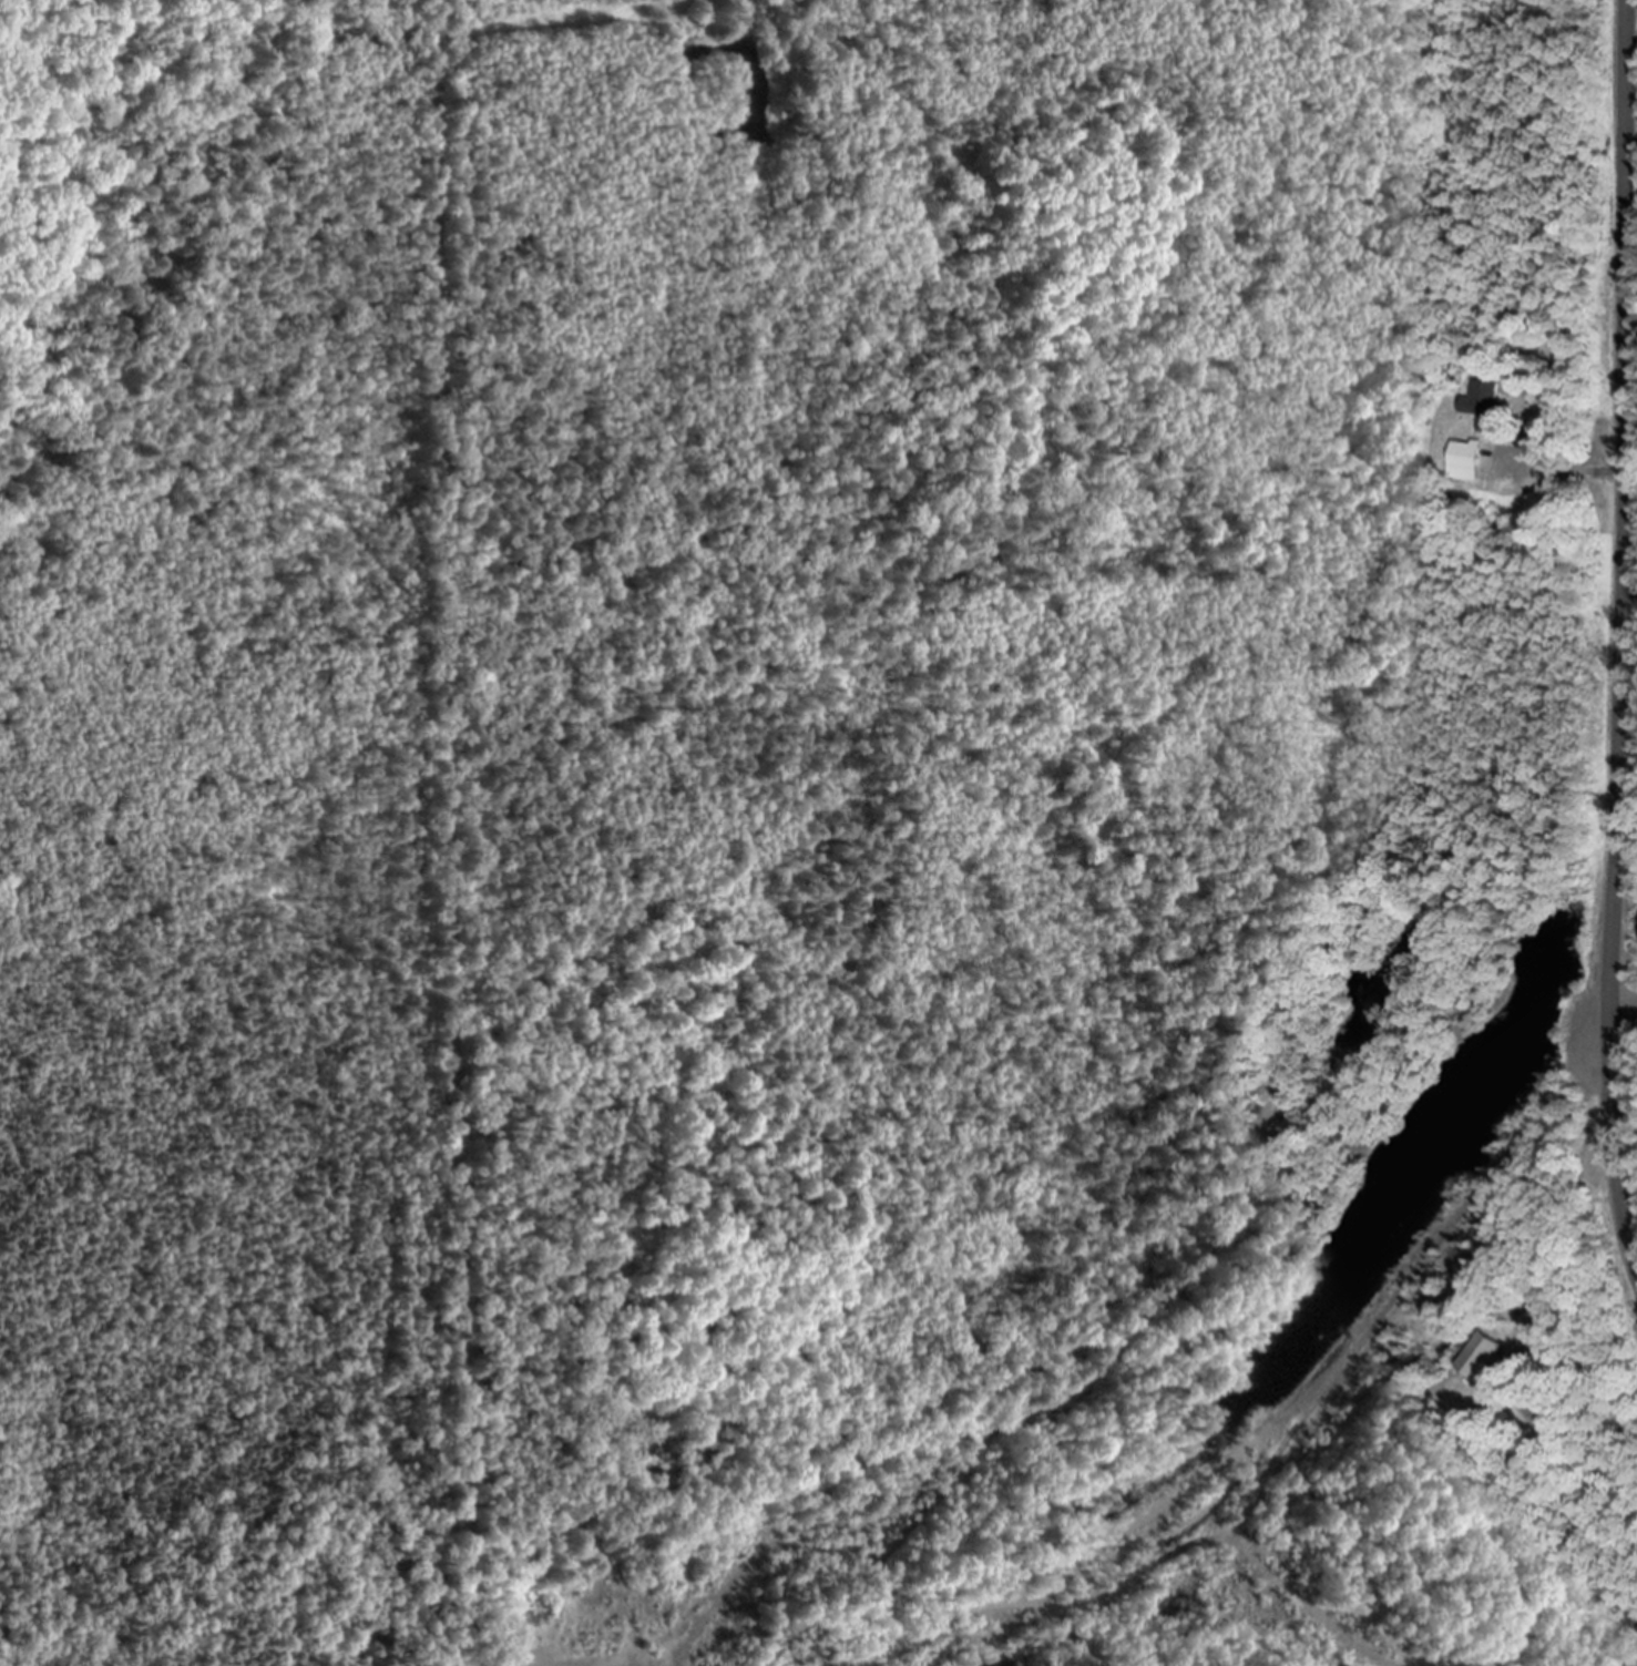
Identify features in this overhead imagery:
building: (1487, 405)
building: (1470, 460)
road: (1576, 469)
road: (1629, 597)
road: (1620, 635)
building: (1481, 1355)
road: (1568, 1631)
building: (1347, 1665)

